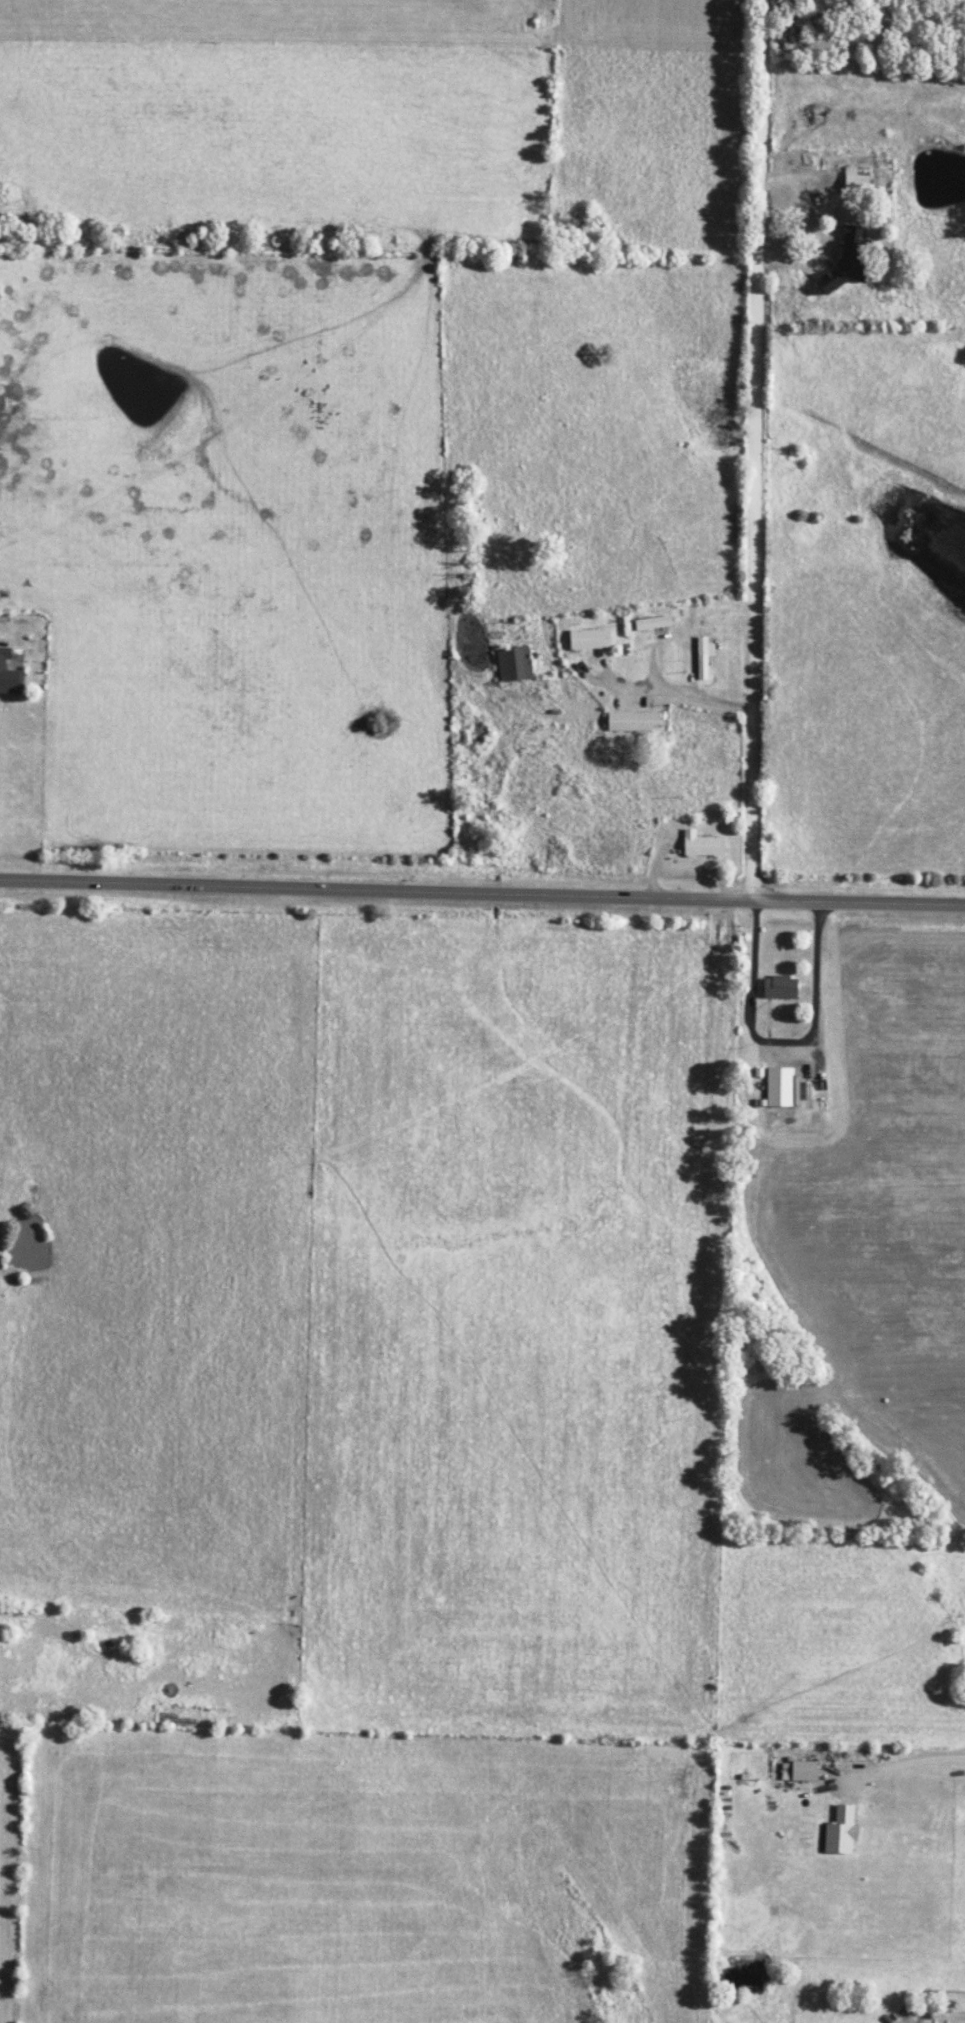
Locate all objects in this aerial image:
building: (855, 181)
building: (843, 264)
road: (759, 448)
road: (573, 558)
building: (652, 622)
building: (589, 639)
building: (703, 656)
building: (514, 664)
building: (9, 675)
road: (680, 694)
building: (633, 721)
building: (702, 845)
road: (482, 889)
building: (779, 987)
road: (781, 1042)
building: (781, 1087)
road: (908, 1762)
building: (798, 1771)
building: (840, 1831)

